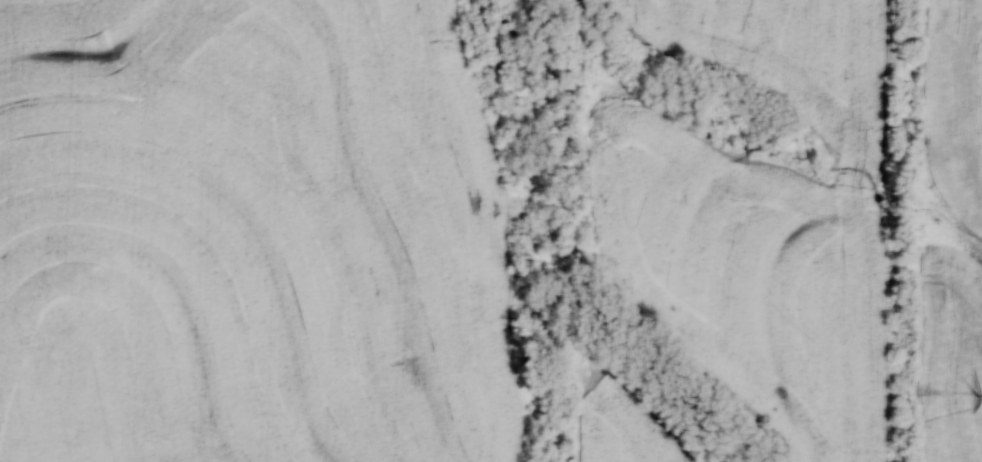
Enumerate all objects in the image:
power tower: (975, 397)

